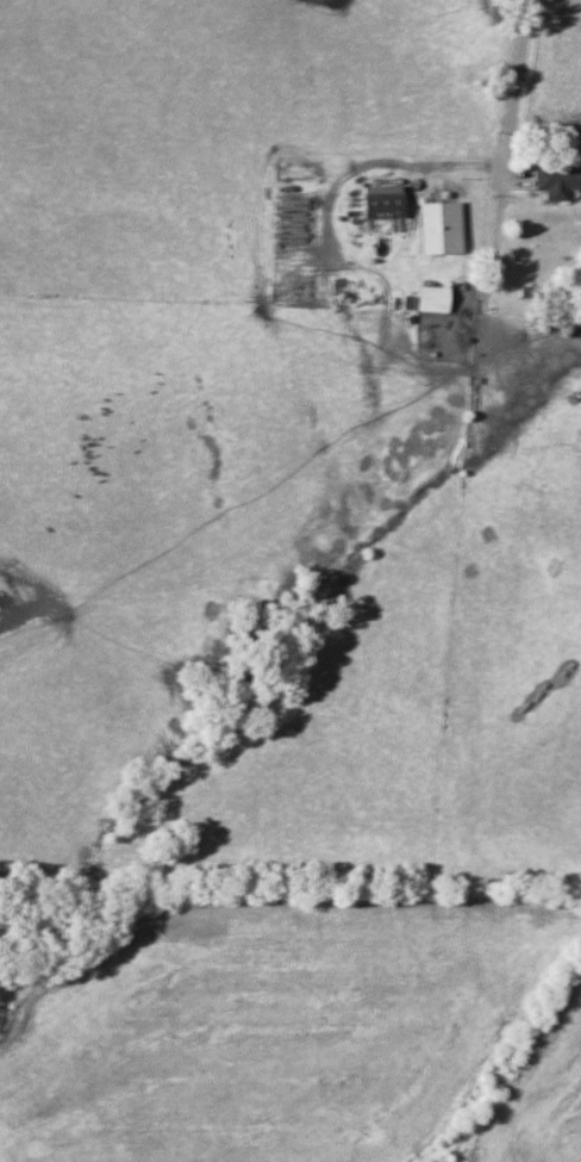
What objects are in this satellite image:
road: (512, 104)
building: (556, 182)
building: (380, 211)
building: (437, 228)
building: (430, 299)

